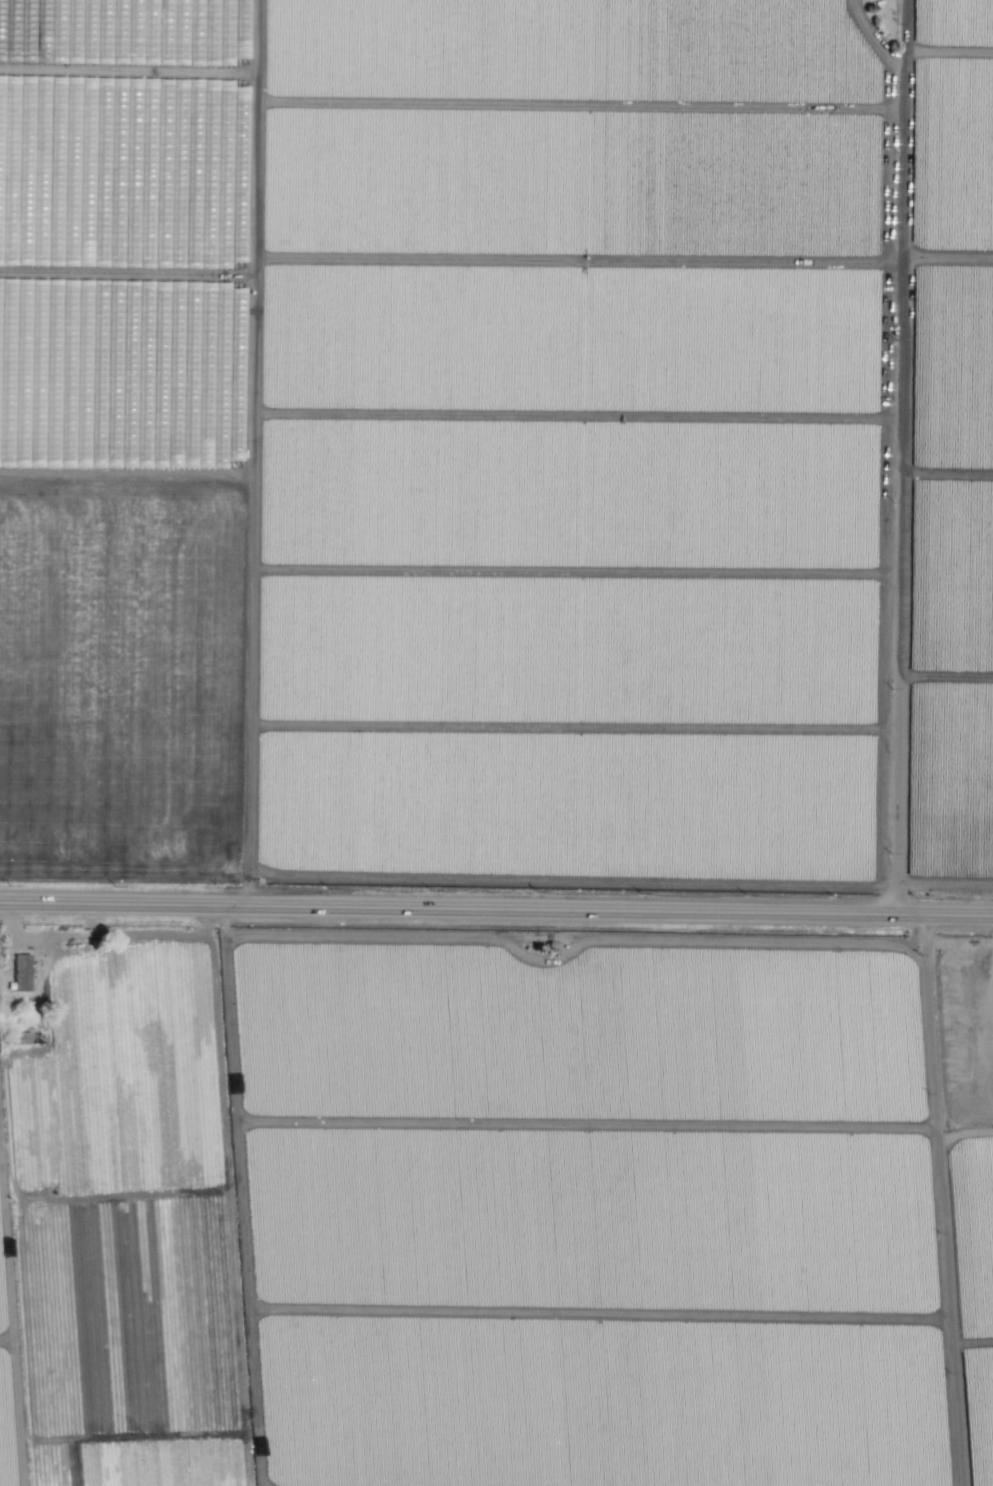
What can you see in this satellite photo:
building: (15, 55)
building: (163, 82)
building: (42, 95)
road: (947, 258)
road: (898, 462)
road: (244, 668)
crop: (496, 743)
road: (496, 909)
building: (21, 972)
road: (939, 1199)

